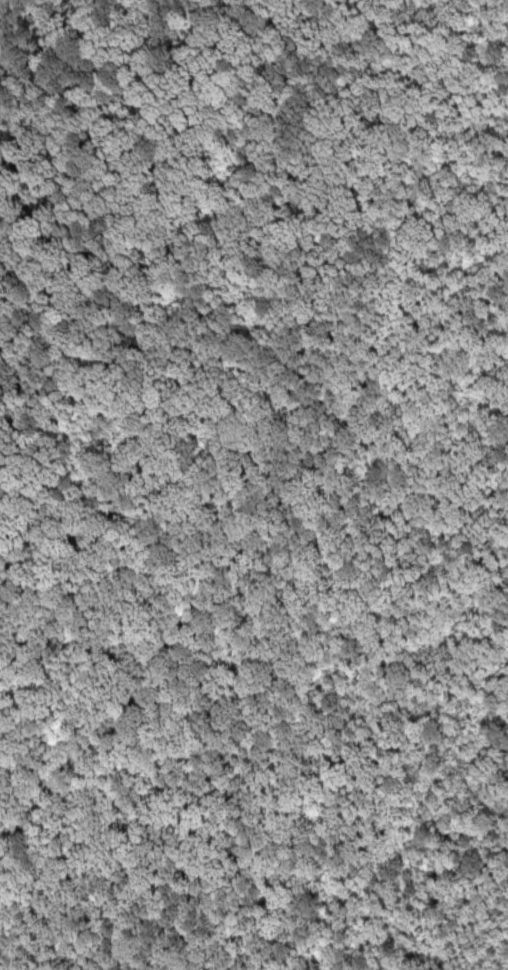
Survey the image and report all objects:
road: (285, 447)

